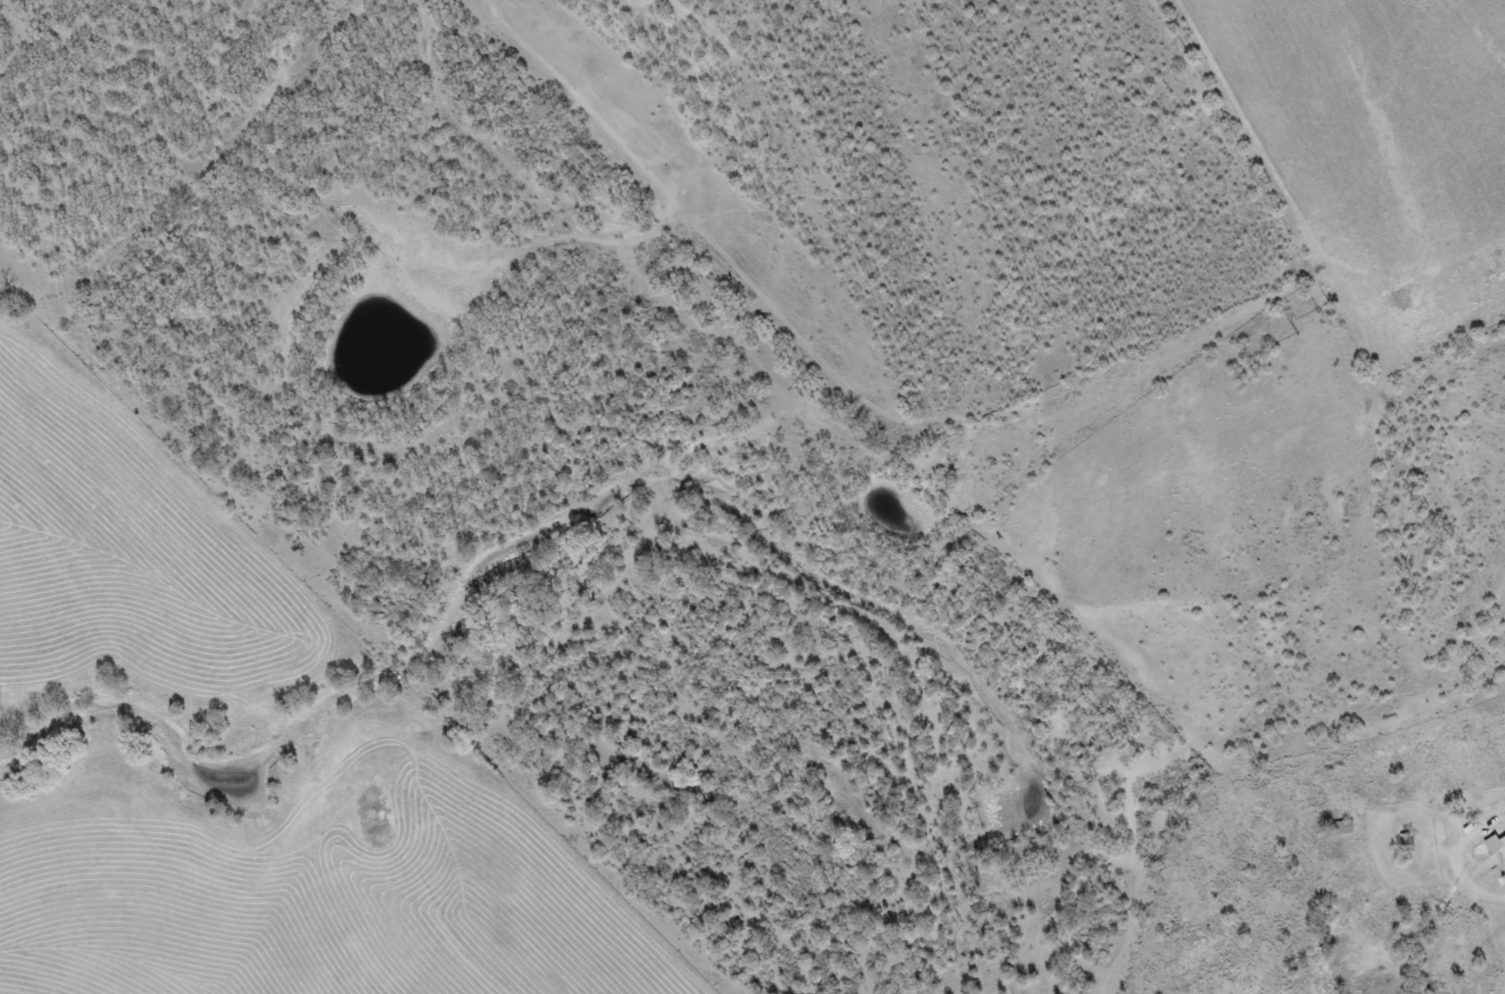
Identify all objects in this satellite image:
building: (1496, 845)

